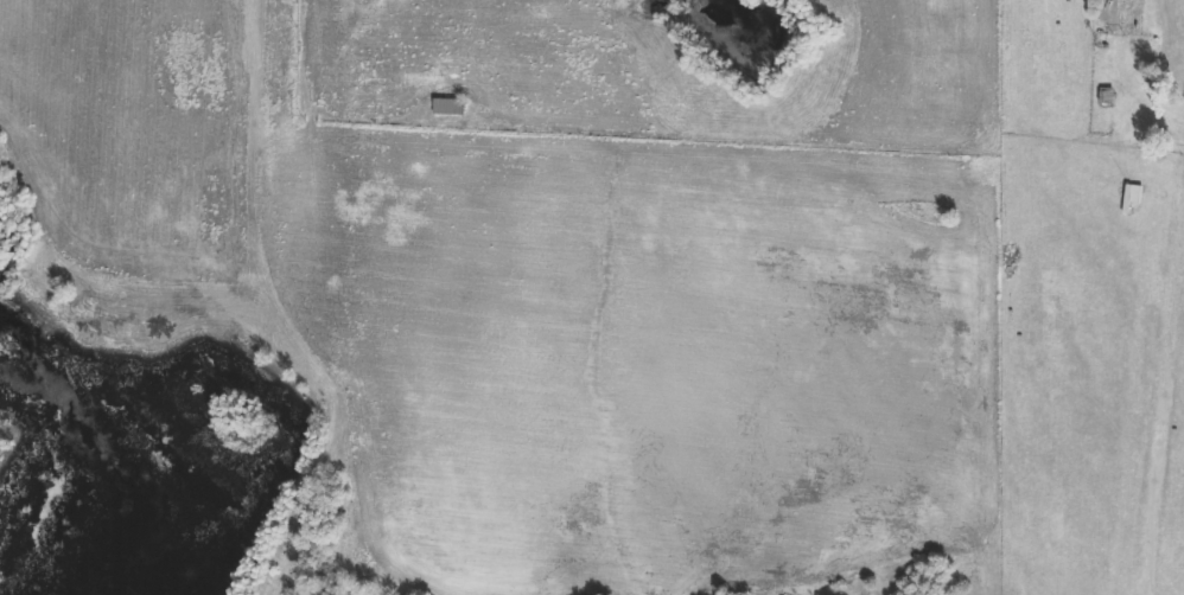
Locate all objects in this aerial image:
building: (1108, 98)
building: (448, 109)

